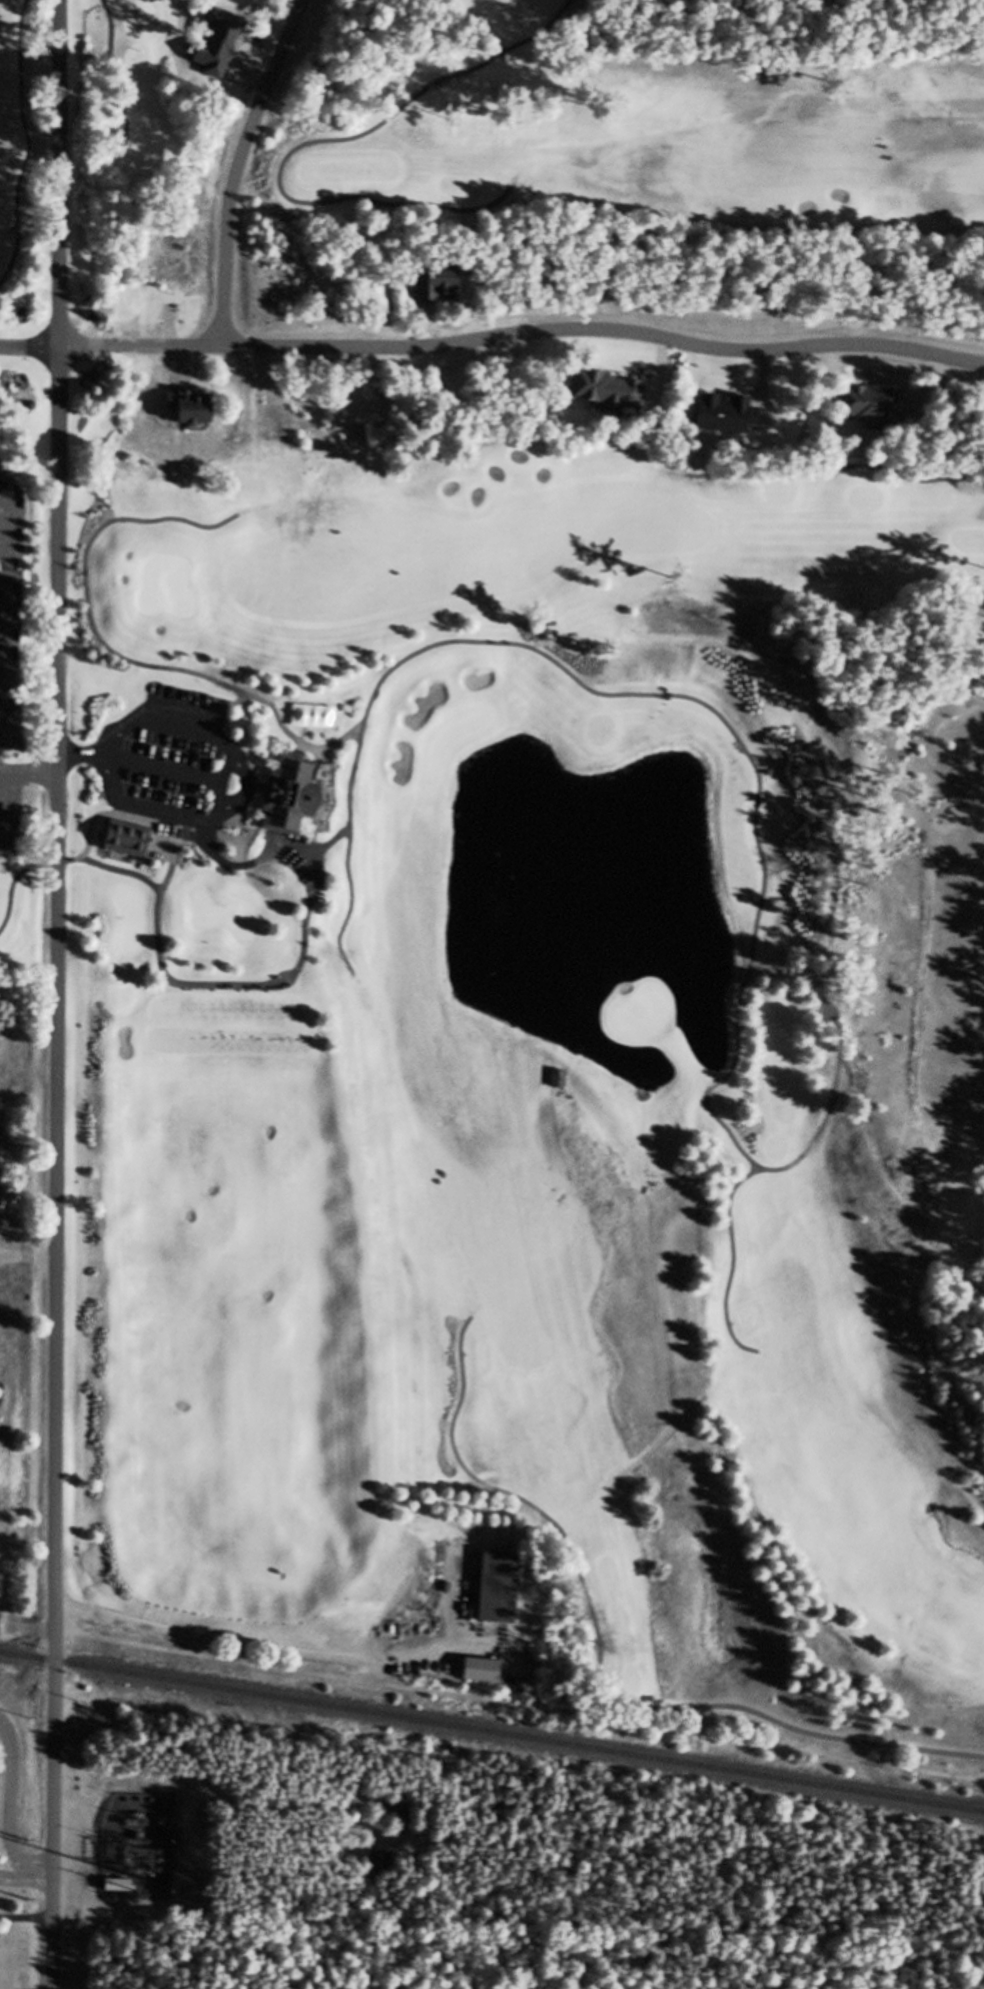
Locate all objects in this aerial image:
building: (218, 50)
park: (659, 141)
road: (32, 151)
road: (245, 170)
road: (439, 217)
road: (524, 342)
road: (30, 356)
building: (607, 399)
building: (870, 410)
building: (186, 416)
road: (9, 617)
road: (117, 662)
road: (642, 703)
road: (232, 719)
parking lot: (169, 765)
road: (145, 771)
road: (31, 781)
road: (227, 788)
road: (247, 802)
building: (288, 804)
parking lot: (17, 816)
road: (26, 819)
building: (129, 848)
road: (250, 872)
road: (162, 936)
road: (62, 994)
road: (817, 1003)
park: (508, 1041)
building: (563, 1087)
road: (904, 1200)
road: (735, 1207)
road: (30, 1267)
road: (906, 1276)
road: (936, 1399)
building: (499, 1594)
road: (301, 1659)
road: (607, 1673)
building: (487, 1678)
railway: (491, 1739)
road: (16, 1816)
building: (397, 1819)
power substation: (146, 1836)
road: (45, 1882)

